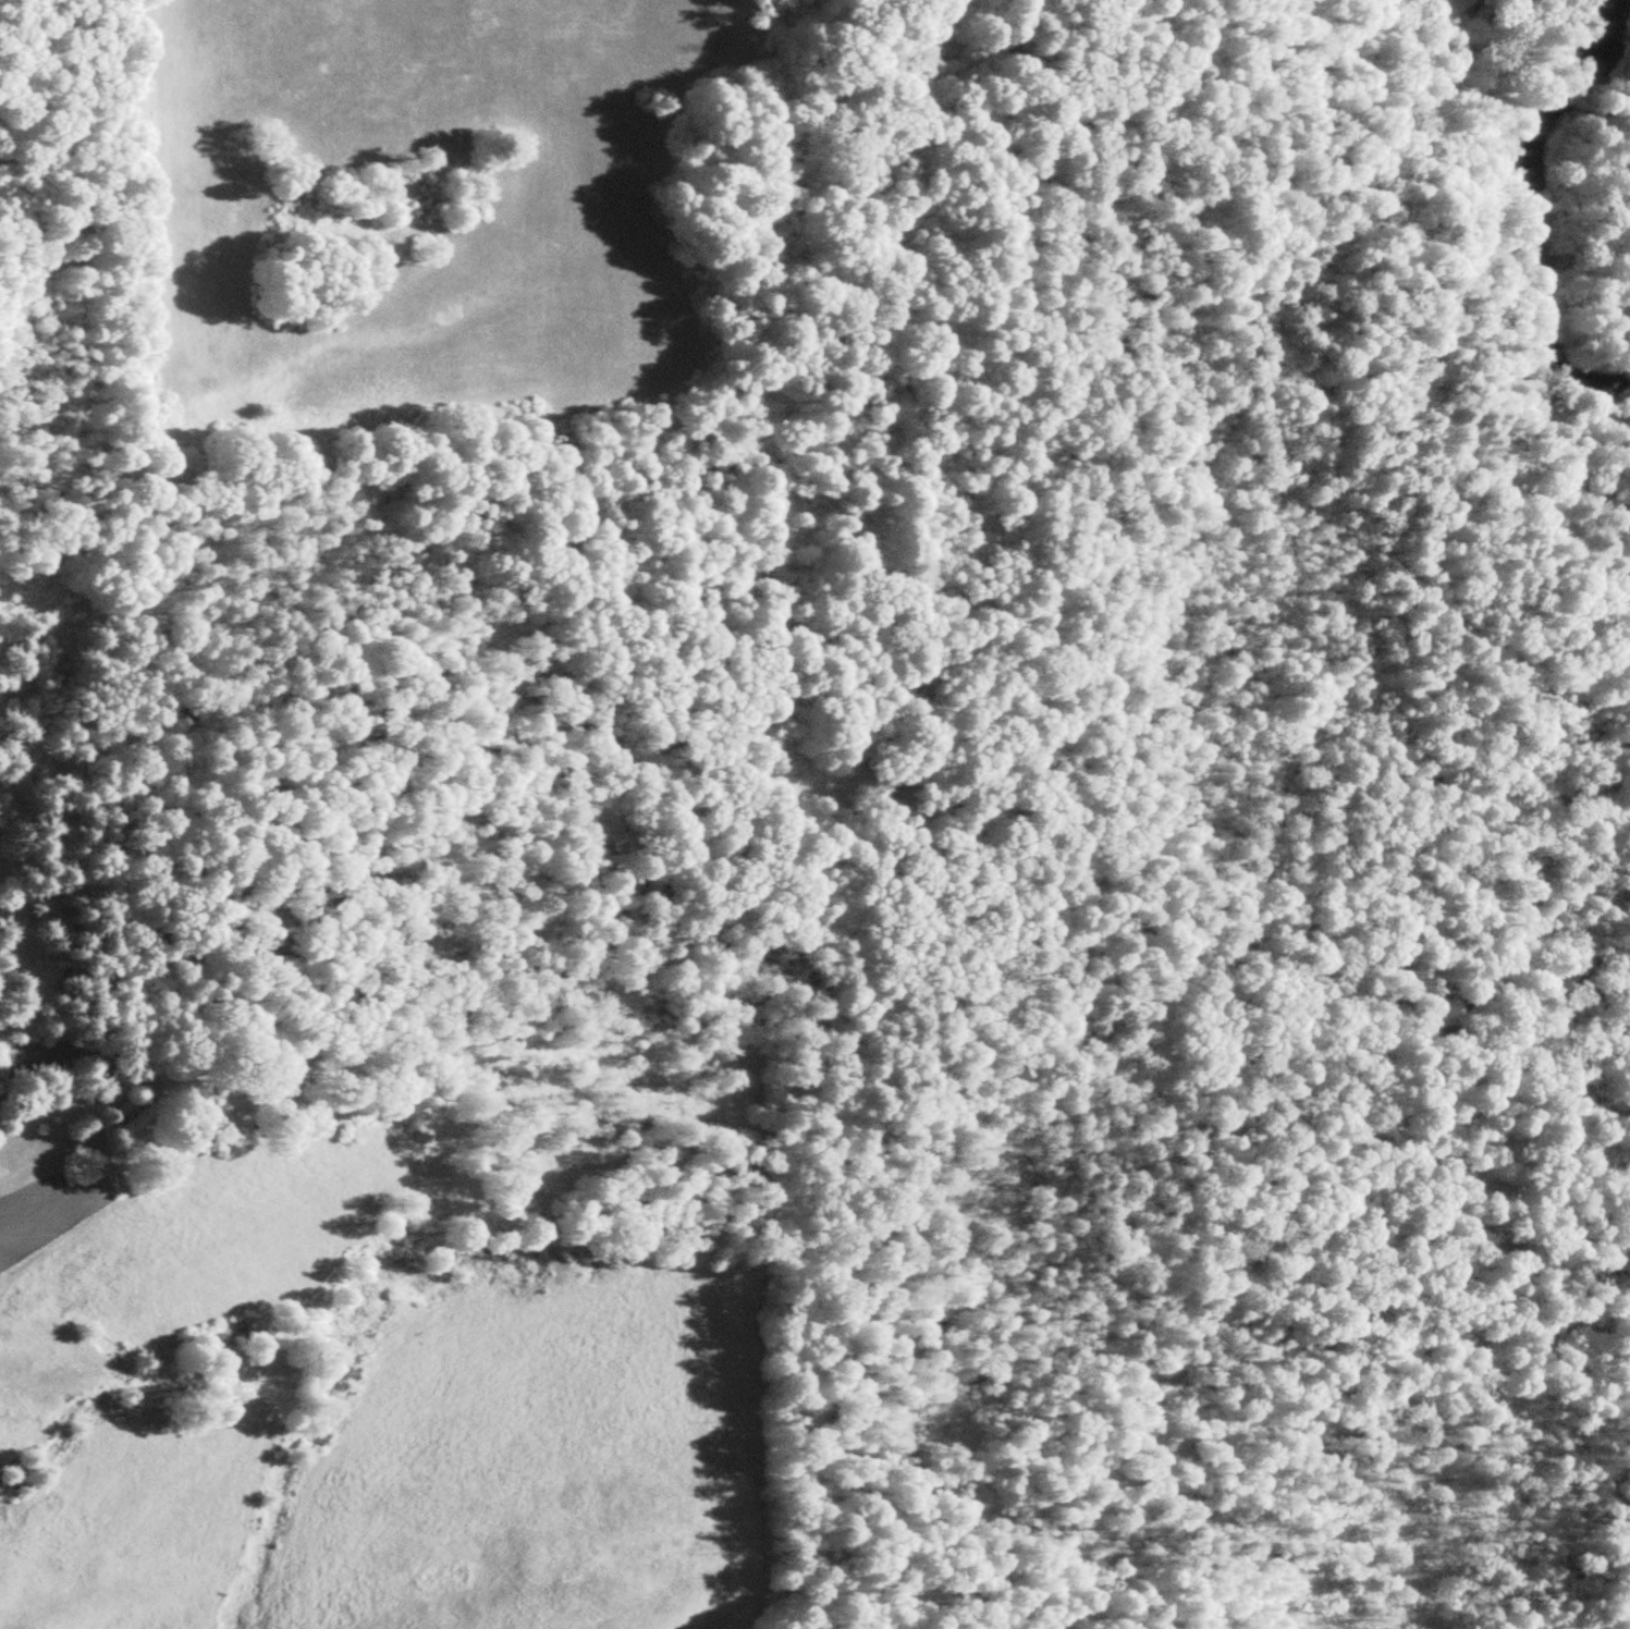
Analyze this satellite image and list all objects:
river: (1527, 222)
building: (126, 1115)

